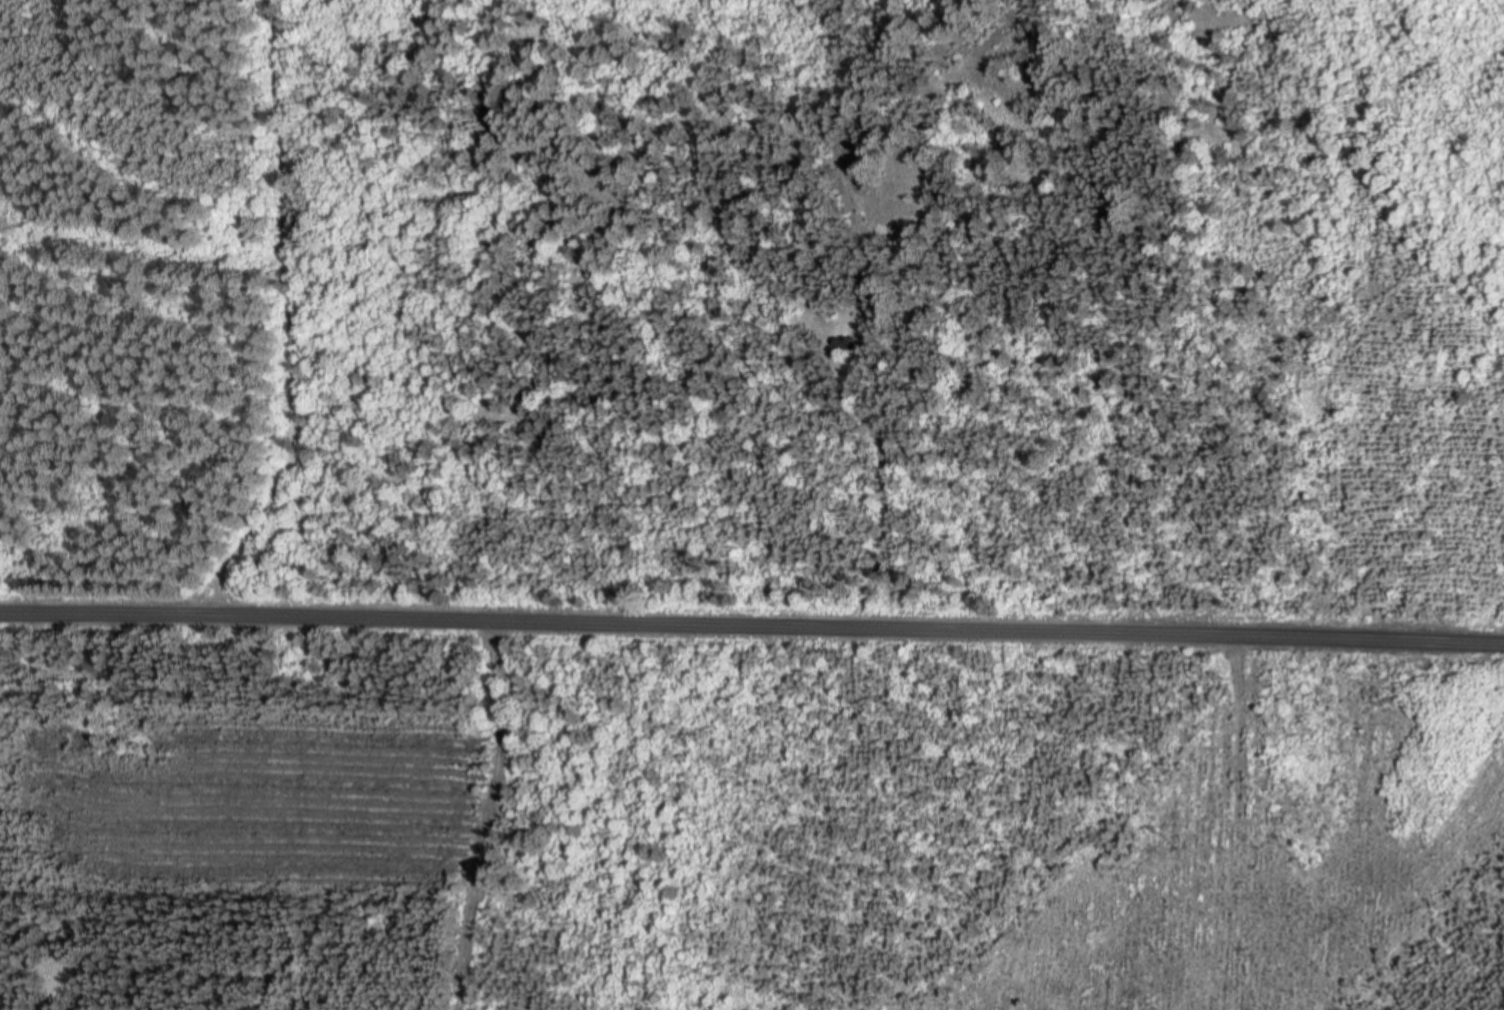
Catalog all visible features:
road: (752, 628)

